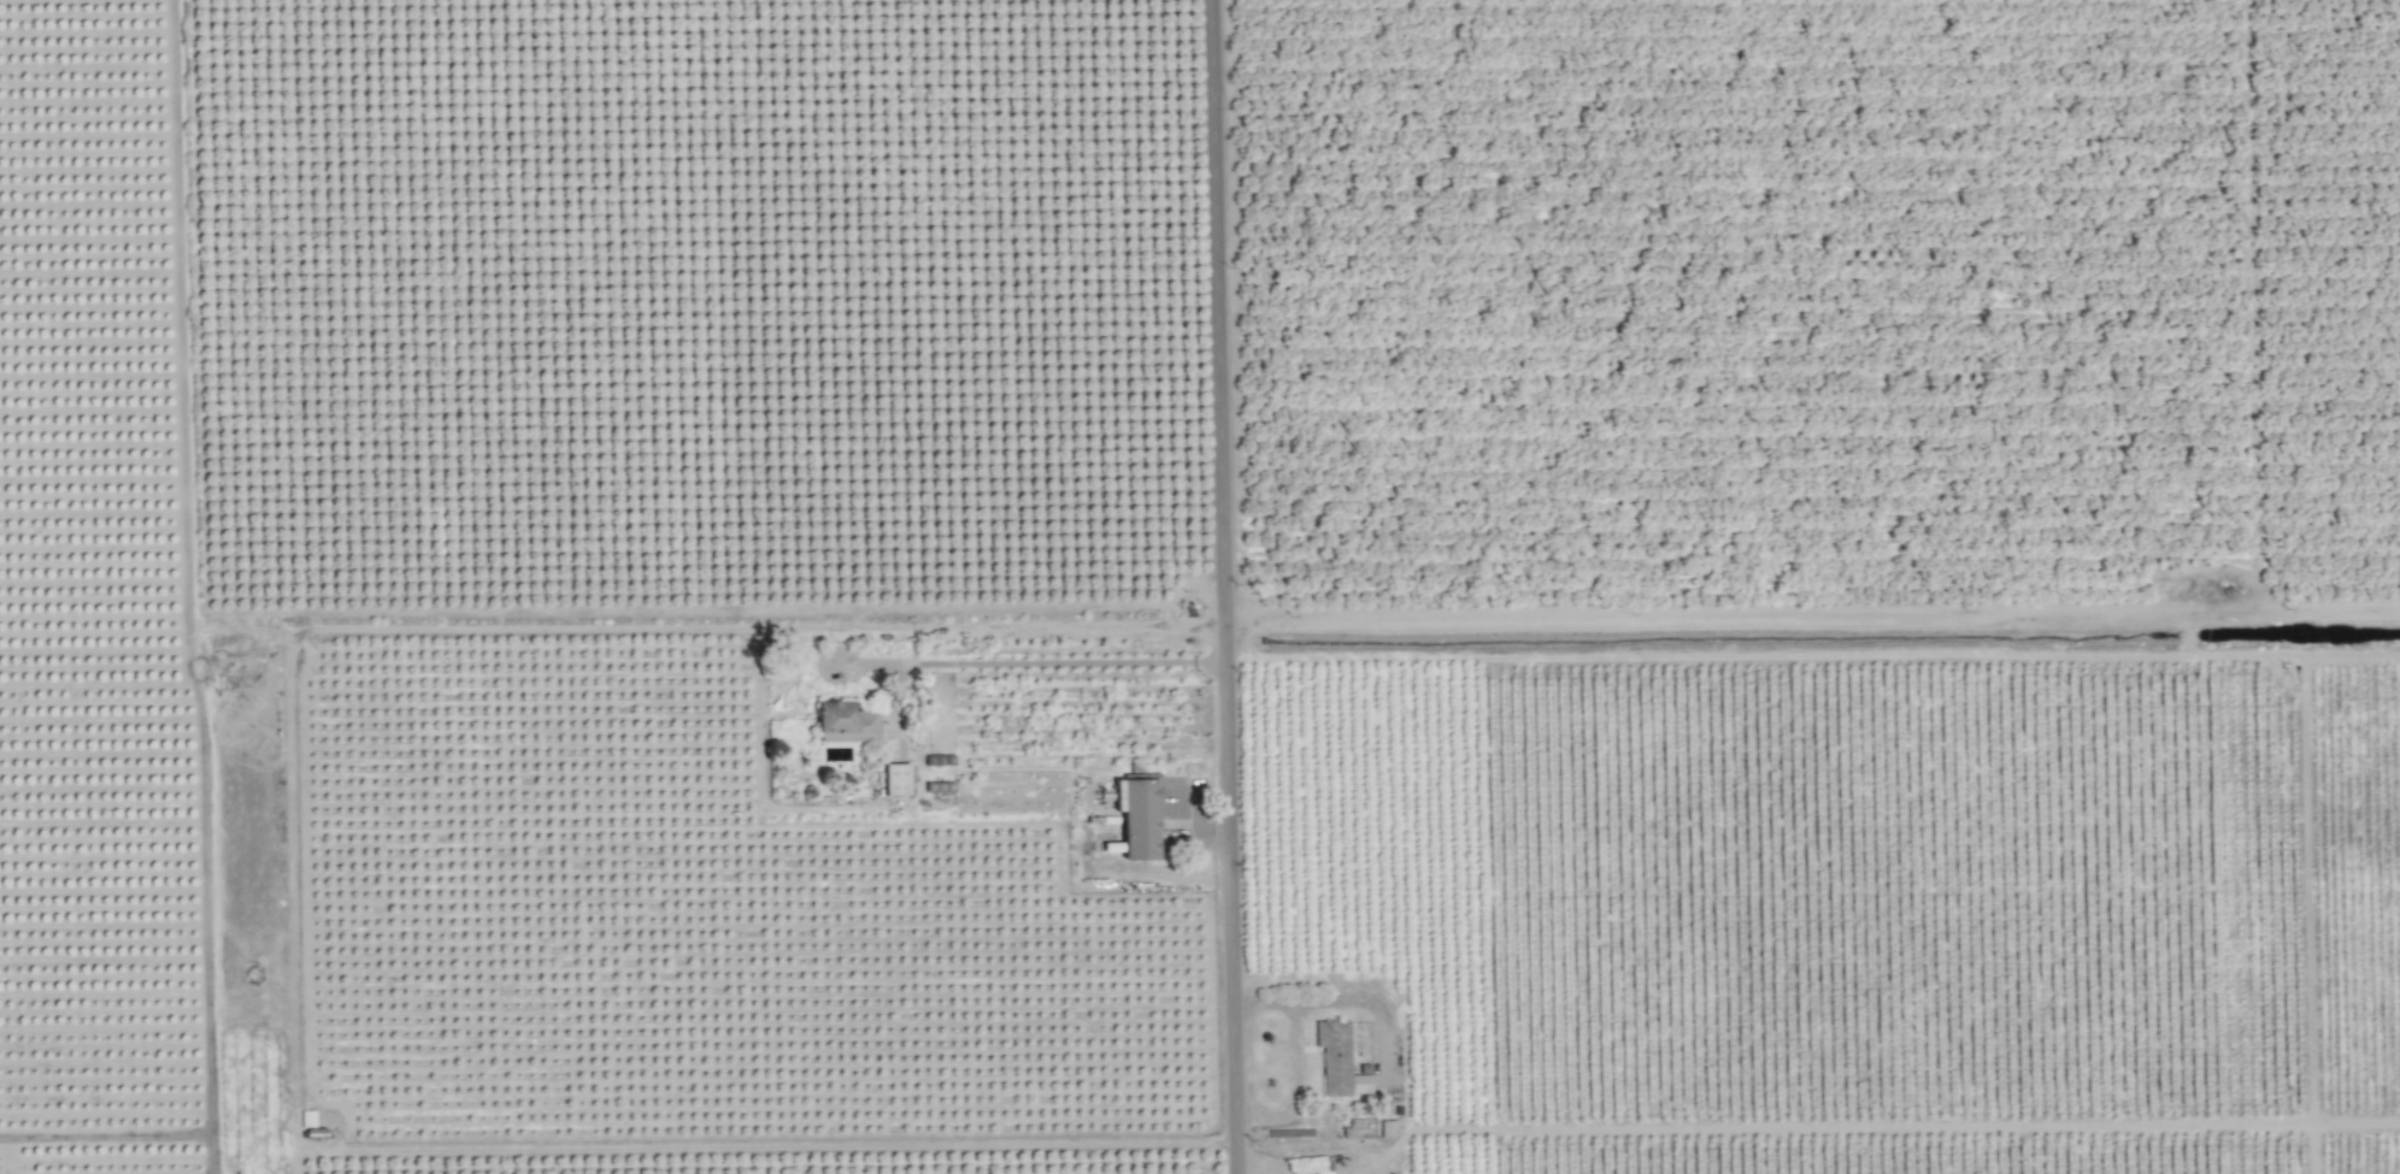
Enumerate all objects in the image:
road: (1223, 586)
road: (1812, 623)
road: (612, 632)
road: (1043, 666)
building: (849, 724)
building: (941, 760)
building: (900, 780)
building: (942, 785)
building: (1134, 821)
building: (1337, 1060)
building: (310, 1119)
building: (319, 1135)
building: (277, 1137)

